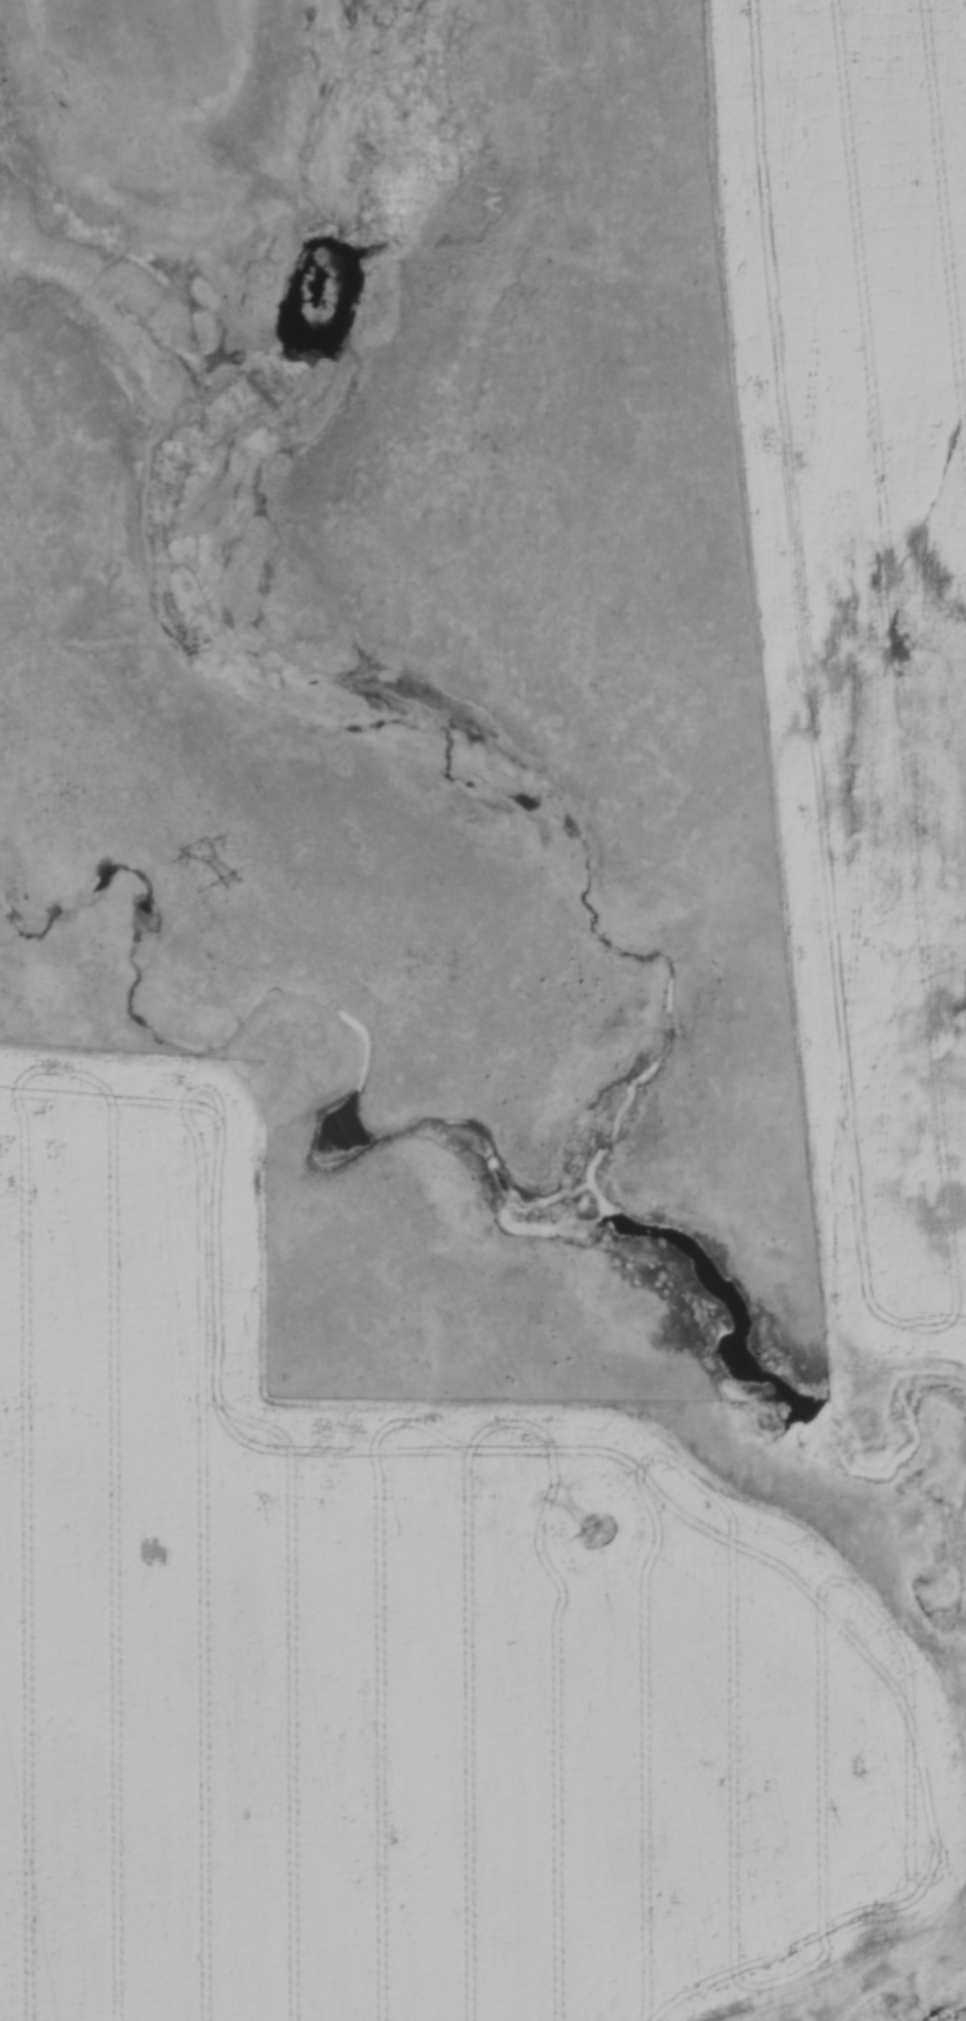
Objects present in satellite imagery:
power tower: (230, 869)
power tower: (594, 1533)

